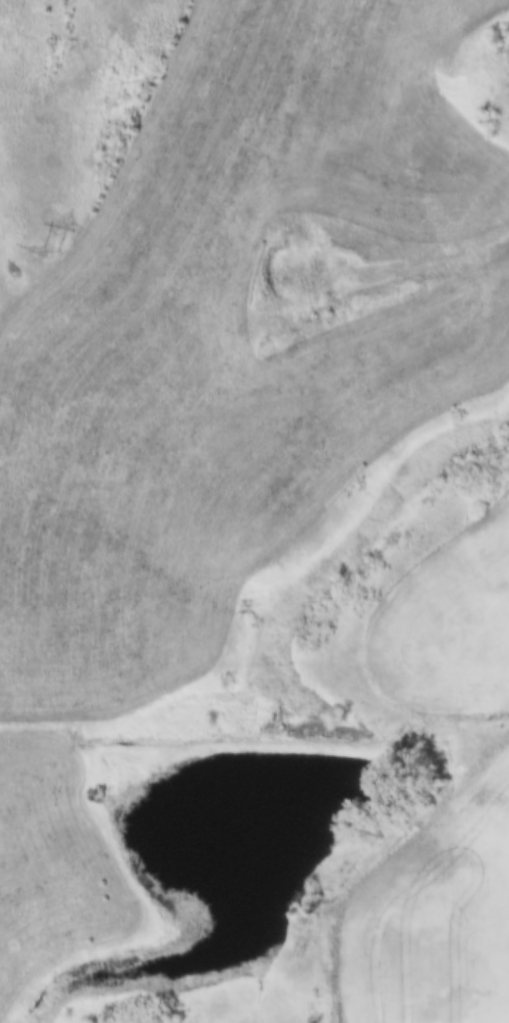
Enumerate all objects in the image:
road: (471, 245)
power tower: (55, 250)

